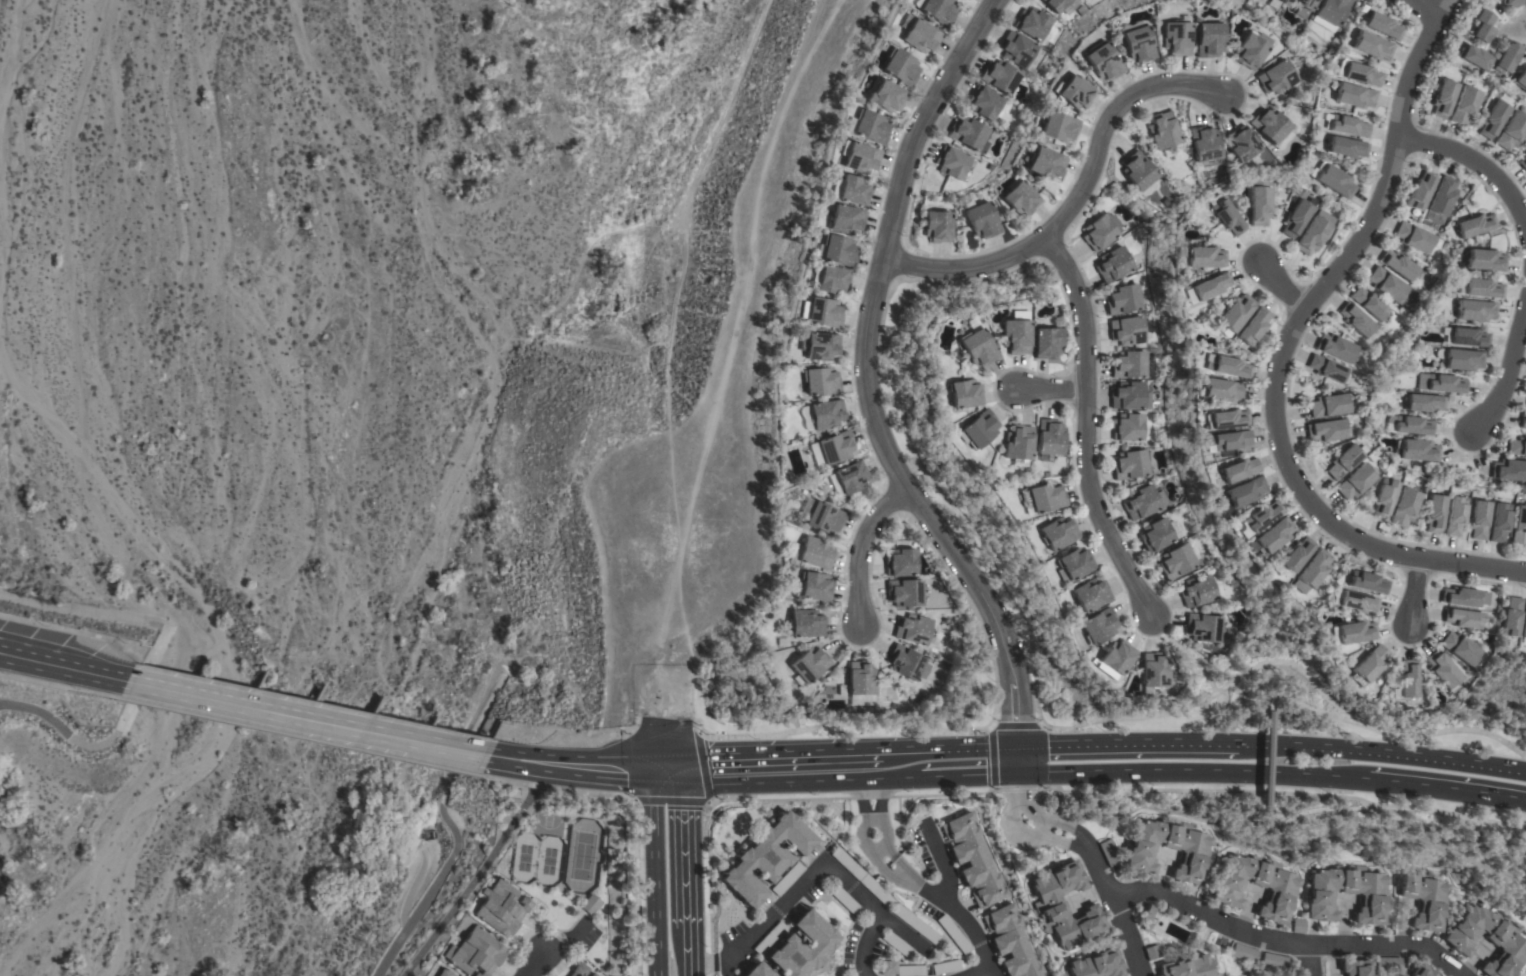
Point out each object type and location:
building: (1082, 0)
building: (1510, 3)
building: (1055, 4)
road: (1425, 6)
road: (1440, 6)
building: (1303, 7)
building: (938, 11)
building: (1331, 11)
building: (1032, 23)
building: (1382, 25)
road: (1523, 26)
building: (1482, 28)
road: (1505, 28)
building: (920, 36)
building: (1175, 38)
building: (1207, 39)
building: (1137, 44)
building: (1372, 46)
building: (1016, 49)
building: (1250, 50)
building: (1475, 57)
building: (1507, 57)
building: (1102, 61)
building: (900, 68)
building: (1358, 73)
building: (999, 77)
building: (1275, 77)
building: (1521, 80)
building: (1073, 92)
building: (885, 96)
building: (1354, 96)
building: (1442, 98)
building: (984, 102)
building: (1464, 106)
building: (1492, 120)
building: (1269, 125)
building: (1348, 126)
building: (870, 127)
building: (1058, 127)
building: (1162, 130)
building: (1512, 131)
building: (969, 134)
building: (1204, 144)
building: (1242, 145)
building: (1347, 147)
building: (1525, 153)
building: (860, 158)
building: (951, 162)
building: (1045, 163)
building: (1523, 163)
road: (1478, 165)
building: (1137, 171)
building: (1333, 180)
building: (853, 190)
building: (1420, 191)
building: (1019, 199)
road: (1075, 199)
building: (1441, 199)
building: (1258, 206)
building: (1227, 217)
building: (1295, 218)
building: (845, 220)
building: (982, 220)
building: (1474, 225)
building: (937, 226)
building: (1101, 231)
building: (1313, 233)
building: (1414, 237)
building: (836, 250)
building: (1204, 257)
building: (1485, 260)
building: (1113, 264)
building: (1399, 265)
building: (832, 280)
road: (1280, 283)
building: (1388, 285)
building: (1207, 288)
building: (1483, 288)
building: (1122, 299)
building: (1369, 303)
building: (1475, 310)
building: (822, 313)
building: (1235, 313)
road: (881, 317)
building: (1356, 320)
building: (1254, 326)
building: (1127, 330)
building: (1015, 336)
building: (1468, 337)
building: (1046, 343)
building: (818, 346)
building: (978, 348)
building: (1336, 348)
road: (1280, 359)
building: (1463, 360)
building: (1129, 365)
building: (1227, 366)
building: (1327, 369)
road: (1506, 373)
building: (820, 381)
building: (1440, 383)
road: (864, 386)
road: (1048, 389)
building: (1220, 390)
building: (964, 393)
building: (1129, 396)
building: (1424, 403)
building: (1328, 406)
building: (1525, 409)
building: (825, 414)
building: (1227, 419)
building: (1523, 421)
building: (1410, 424)
building: (1127, 427)
road: (1084, 428)
building: (979, 429)
building: (1327, 430)
building: (1049, 437)
building: (1230, 440)
building: (1018, 443)
building: (834, 447)
building: (1517, 447)
building: (1417, 450)
building: (1343, 462)
building: (1130, 464)
building: (1238, 470)
building: (1509, 470)
building: (847, 479)
building: (1356, 481)
building: (1245, 491)
building: (1042, 498)
building: (1383, 498)
building: (1140, 502)
building: (1404, 507)
building: (1433, 513)
building: (1455, 515)
building: (824, 518)
building: (1259, 518)
building: (1478, 520)
building: (1498, 522)
building: (1519, 526)
building: (1057, 533)
road: (976, 534)
building: (1155, 535)
building: (1271, 537)
road: (859, 549)
building: (815, 553)
building: (1296, 555)
building: (1176, 561)
building: (900, 563)
building: (1074, 563)
building: (1311, 571)
building: (1367, 582)
building: (815, 586)
building: (1197, 591)
building: (904, 592)
road: (1413, 594)
building: (1089, 595)
building: (1464, 597)
building: (1356, 602)
building: (1511, 617)
building: (1463, 618)
building: (806, 623)
building: (1098, 626)
building: (1524, 627)
building: (1204, 628)
building: (912, 629)
building: (1355, 632)
building: (1460, 648)
road: (1183, 652)
building: (1114, 659)
building: (907, 663)
road: (64, 665)
building: (1369, 665)
building: (809, 666)
building: (1443, 670)
building: (1154, 671)
building: (1407, 680)
building: (861, 683)
road: (1226, 684)
road: (57, 686)
road: (185, 688)
road: (308, 719)
road: (843, 722)
road: (1056, 729)
road: (1390, 733)
road: (297, 737)
road: (108, 739)
road: (1124, 746)
road: (1380, 754)
road: (991, 755)
traffic signals: (1017, 760)
road: (1265, 761)
road: (849, 764)
road: (569, 768)
road: (667, 773)
traffic signals: (682, 773)
road: (1189, 773)
traffic signals: (652, 774)
road: (506, 781)
road: (1446, 789)
road: (1283, 793)
road: (705, 802)
road: (1310, 811)
road: (1033, 814)
road: (1018, 825)
road: (1038, 829)
road: (453, 831)
road: (634, 837)
building: (1109, 852)
building: (1141, 852)
park: (581, 856)
building: (765, 858)
building: (973, 860)
building: (847, 864)
road: (826, 868)
road: (475, 872)
road: (655, 874)
road: (684, 874)
road: (912, 878)
building: (787, 879)
building: (1227, 890)
building: (876, 891)
building: (1322, 896)
building: (844, 899)
building: (1425, 900)
building: (590, 904)
building: (1064, 906)
building: (500, 908)
road: (1113, 908)
building: (1146, 918)
building: (915, 924)
building: (1298, 926)
building: (953, 934)
building: (769, 938)
building: (1506, 940)
building: (1010, 942)
road: (1284, 942)
building: (896, 944)
road: (869, 946)
building: (797, 949)
building: (475, 953)
building: (1152, 953)
building: (1244, 953)
road: (1309, 960)
building: (1273, 961)
road: (533, 962)
building: (1387, 964)
building: (1096, 965)
building: (945, 967)
building: (1187, 967)
building: (888, 968)
road: (976, 968)
building: (1356, 968)
building: (579, 970)
building: (910, 970)
building: (1421, 971)
building: (443, 972)
building: (593, 975)

